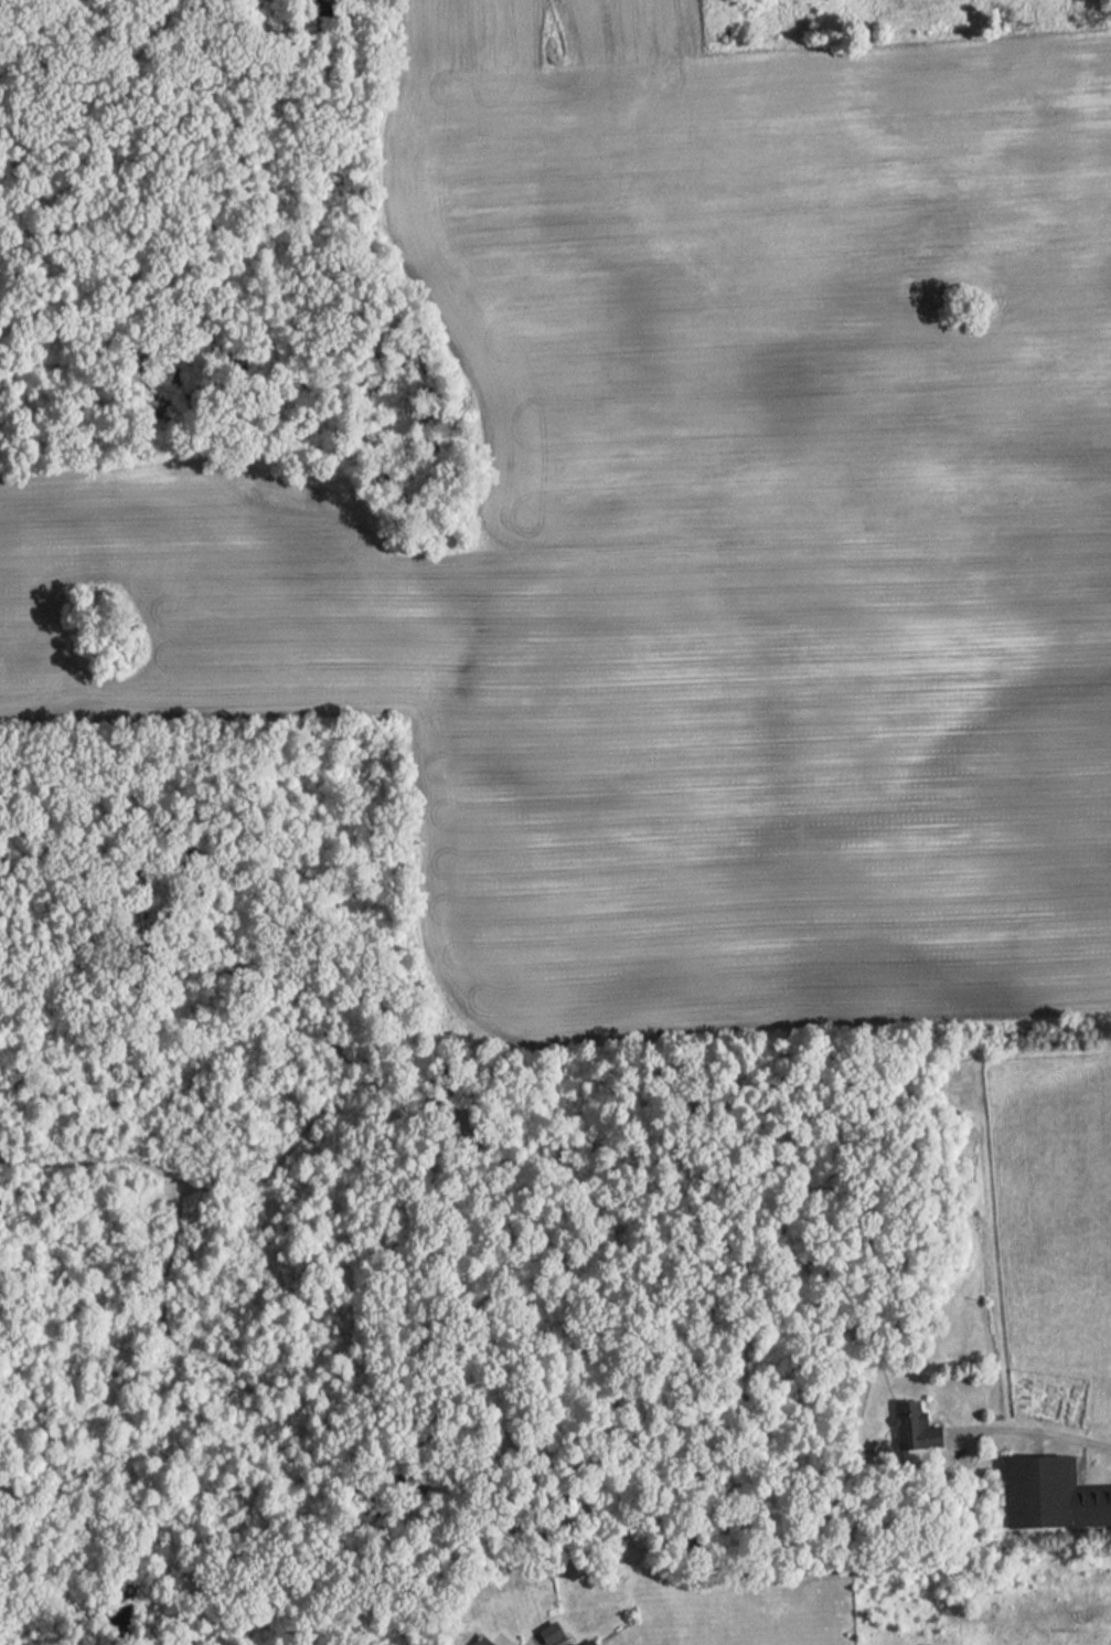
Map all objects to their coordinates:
road: (1036, 1428)
building: (483, 1642)
building: (573, 1642)

